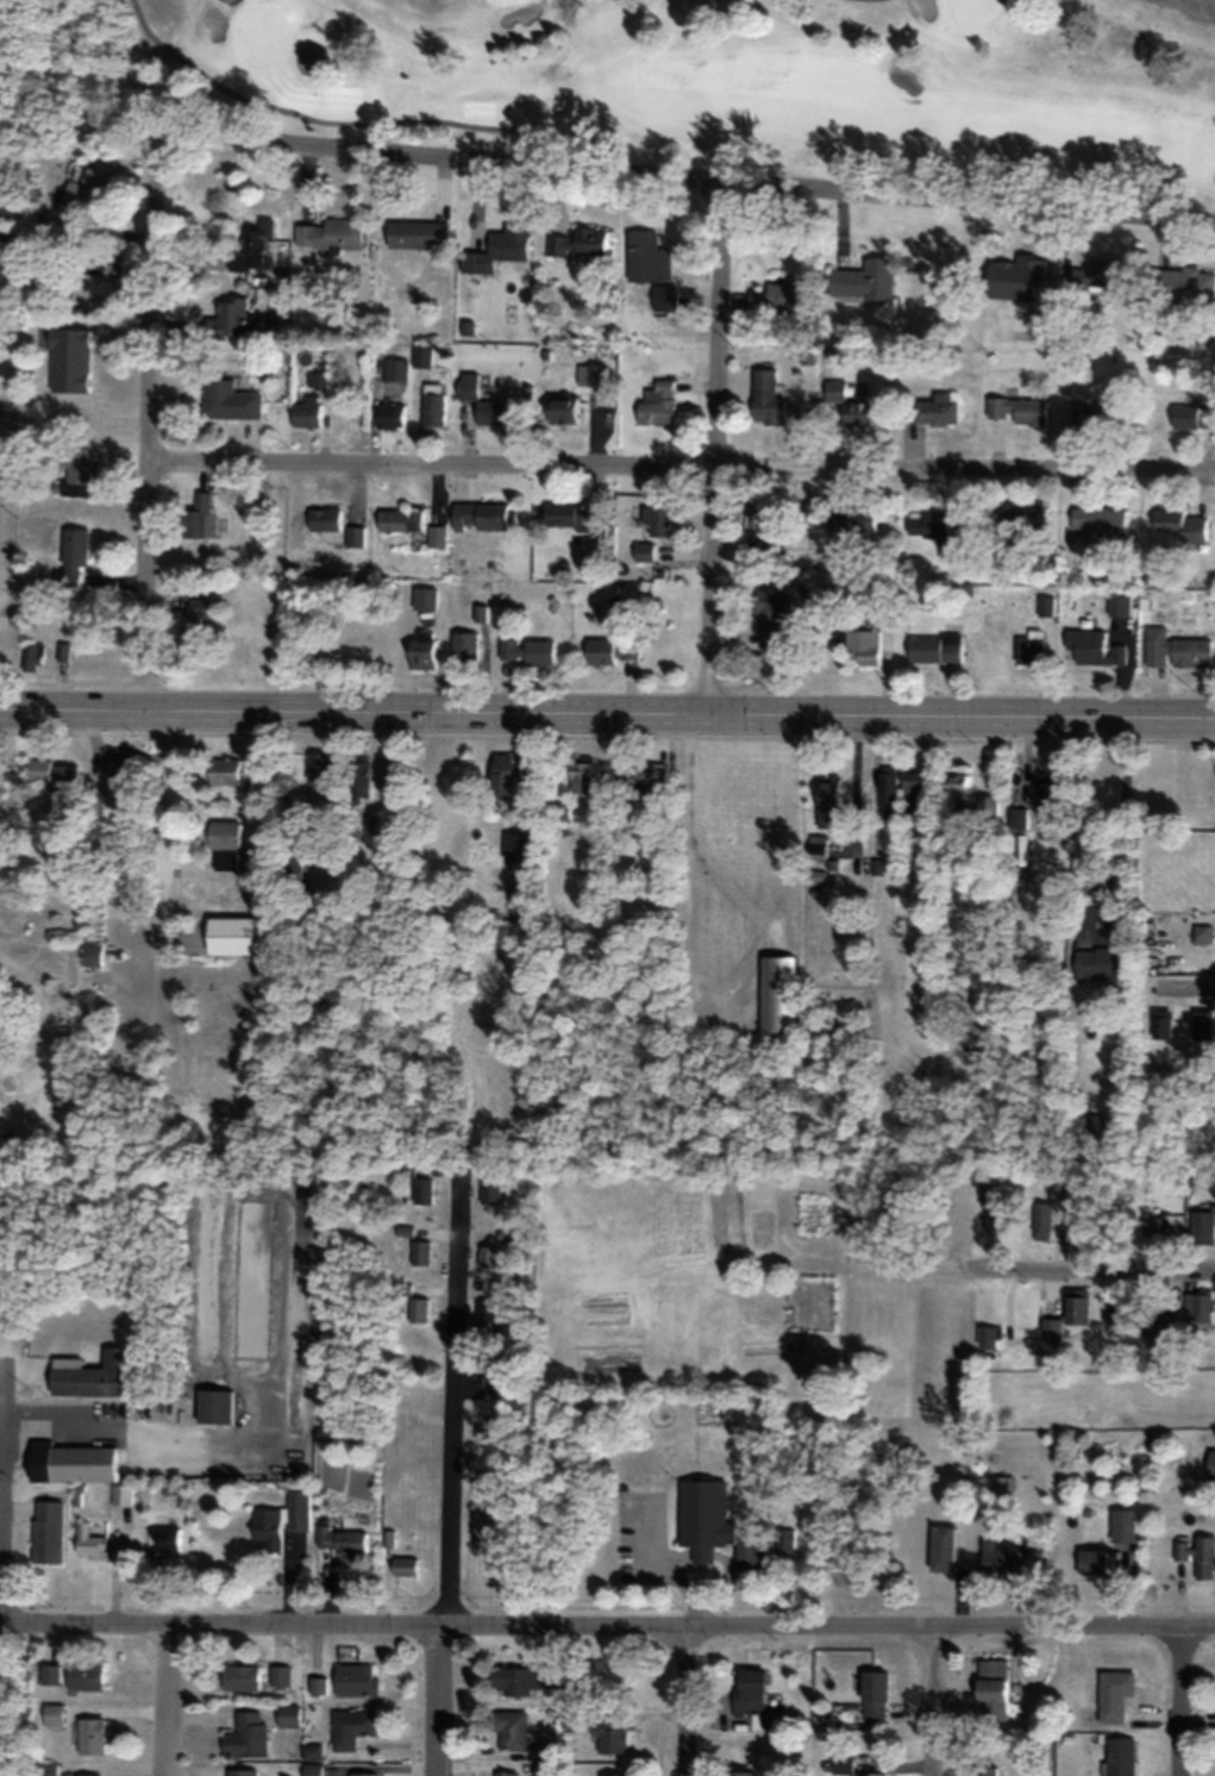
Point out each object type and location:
park: (970, 12)
park: (264, 36)
park: (708, 81)
road: (305, 117)
road: (694, 176)
building: (84, 193)
building: (330, 233)
building: (419, 233)
building: (581, 242)
building: (255, 245)
building: (499, 248)
building: (646, 255)
building: (1015, 274)
building: (1100, 274)
building: (864, 279)
building: (1183, 283)
building: (777, 296)
building: (227, 317)
building: (424, 355)
building: (69, 359)
building: (594, 375)
building: (395, 376)
building: (768, 396)
building: (228, 400)
building: (482, 401)
building: (433, 404)
building: (658, 404)
building: (851, 405)
building: (937, 408)
building: (1020, 408)
building: (562, 409)
building: (1101, 412)
building: (303, 413)
building: (390, 415)
building: (1189, 415)
road: (149, 420)
road: (716, 446)
building: (74, 470)
road: (682, 473)
building: (199, 515)
building: (481, 515)
building: (571, 515)
building: (325, 518)
building: (400, 519)
building: (657, 519)
building: (763, 520)
building: (856, 520)
building: (1016, 521)
building: (1100, 521)
building: (929, 523)
building: (1179, 525)
building: (355, 526)
building: (437, 536)
building: (644, 550)
building: (73, 554)
building: (770, 619)
building: (194, 626)
building: (464, 645)
building: (860, 645)
building: (934, 646)
building: (1031, 646)
building: (1094, 646)
building: (1175, 648)
building: (612, 649)
building: (422, 650)
building: (526, 650)
building: (31, 655)
road: (607, 713)
building: (318, 770)
building: (234, 771)
building: (54, 773)
building: (505, 774)
building: (358, 775)
building: (581, 776)
building: (643, 777)
building: (119, 780)
building: (888, 789)
building: (913, 790)
building: (956, 790)
building: (1044, 790)
building: (827, 793)
building: (987, 808)
building: (558, 812)
building: (1017, 818)
building: (372, 825)
building: (296, 837)
building: (225, 843)
building: (928, 868)
building: (293, 870)
road: (171, 875)
building: (1201, 933)
building: (230, 934)
building: (1098, 962)
road: (1188, 983)
building: (777, 996)
building: (1161, 1023)
building: (1202, 1024)
building: (1091, 1125)
building: (424, 1189)
building: (491, 1192)
building: (988, 1193)
building: (1042, 1219)
building: (998, 1222)
building: (1202, 1224)
building: (1152, 1227)
building: (420, 1252)
building: (488, 1256)
road: (1095, 1269)
building: (1076, 1305)
building: (1198, 1307)
building: (420, 1309)
building: (490, 1309)
building: (1161, 1326)
building: (1051, 1330)
building: (990, 1334)
building: (90, 1375)
road: (457, 1401)
building: (217, 1406)
building: (70, 1462)
building: (1210, 1463)
road: (2, 1475)
building: (1003, 1482)
building: (123, 1493)
building: (714, 1522)
building: (269, 1528)
building: (46, 1531)
building: (169, 1538)
building: (89, 1539)
building: (347, 1539)
building: (940, 1546)
building: (1200, 1555)
building: (1007, 1556)
building: (1091, 1561)
building: (405, 1566)
road: (607, 1618)
building: (49, 1674)
building: (281, 1674)
building: (83, 1675)
building: (240, 1676)
building: (355, 1678)
building: (527, 1678)
building: (318, 1684)
building: (991, 1688)
building: (747, 1689)
building: (871, 1693)
road: (167, 1695)
road: (439, 1695)
building: (1113, 1695)
road: (684, 1697)
road: (933, 1699)
road: (1180, 1699)
building: (52, 1714)
building: (288, 1714)
building: (351, 1726)
building: (511, 1730)
building: (246, 1734)
building: (610, 1734)
building: (89, 1736)
building: (1117, 1756)
building: (46, 1768)
building: (985, 1770)
building: (243, 1771)
building: (738, 1772)
building: (870, 1774)
building: (87, 1775)
building: (363, 1775)
building: (503, 1775)
building: (612, 1775)

